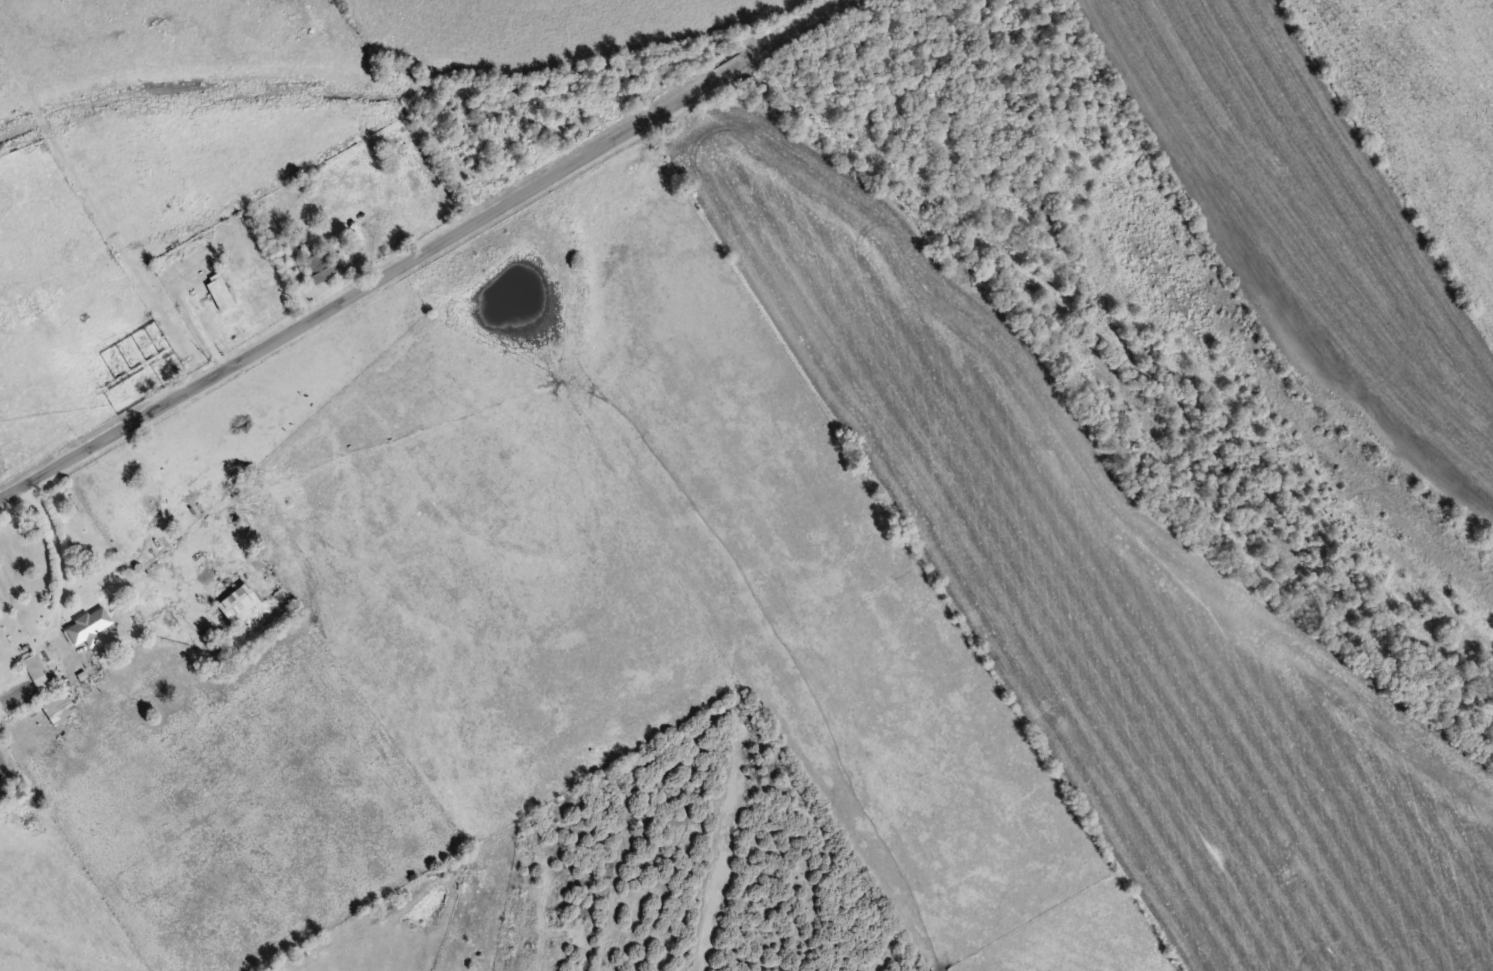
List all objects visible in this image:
road: (403, 243)
building: (317, 265)
building: (219, 293)
building: (237, 603)
building: (86, 624)
building: (35, 673)
road: (858, 956)

